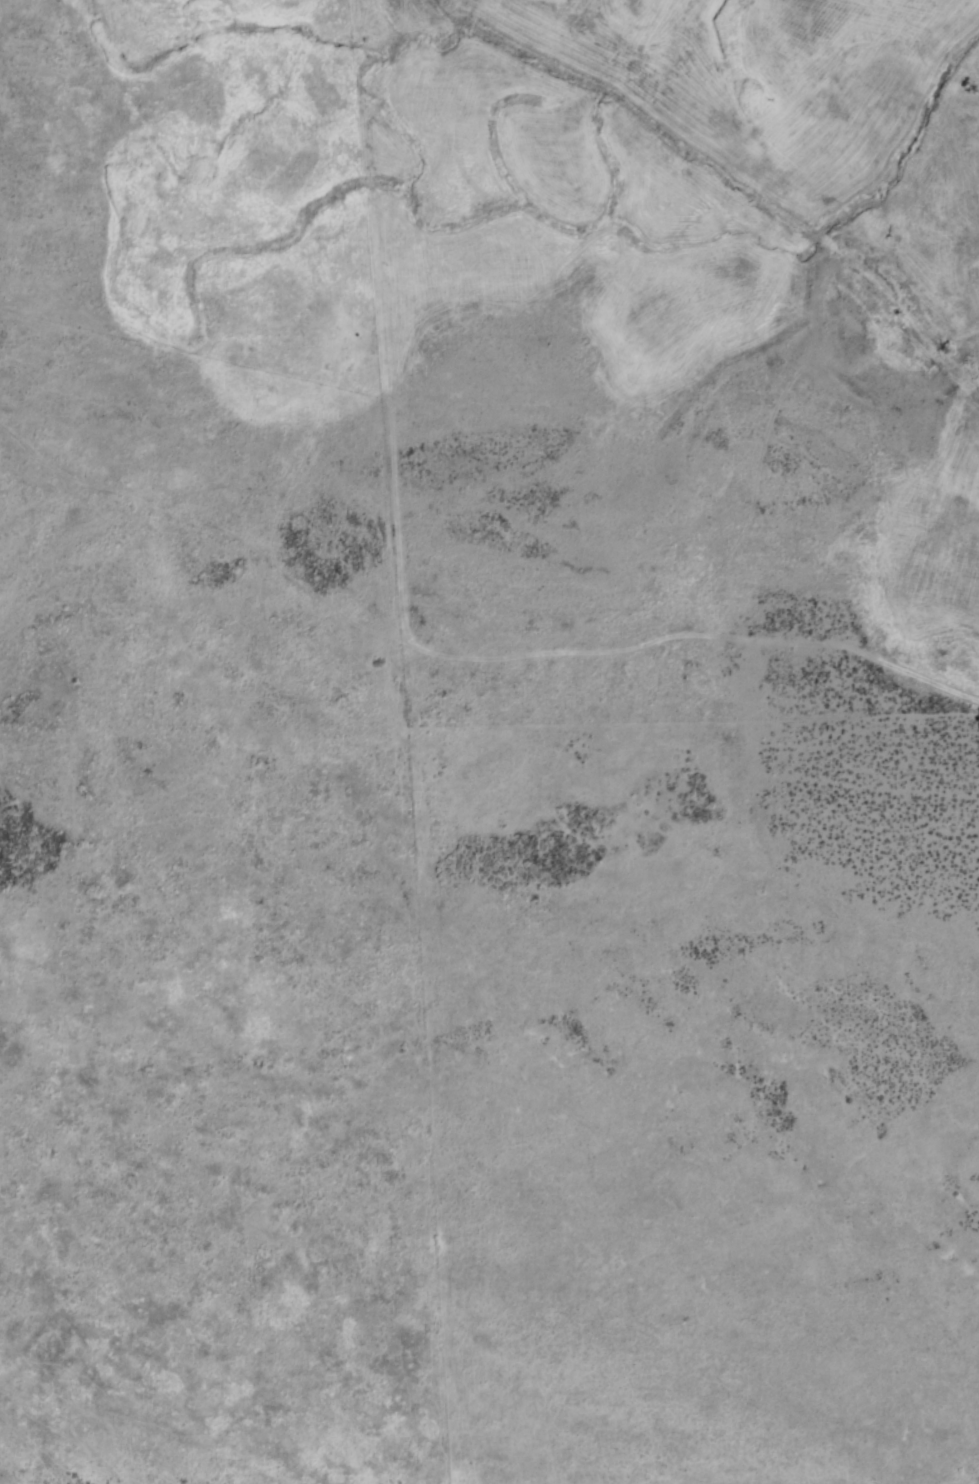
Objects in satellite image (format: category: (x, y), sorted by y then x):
road: (465, 654)

